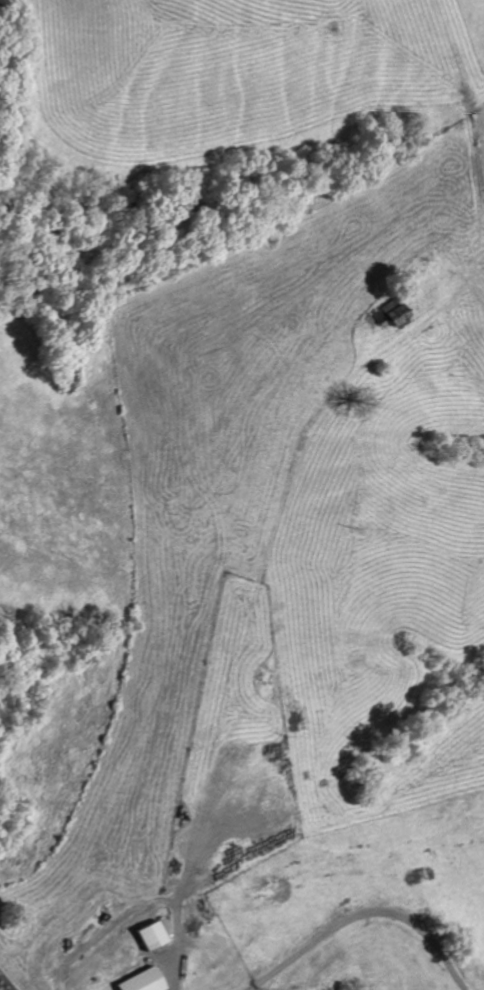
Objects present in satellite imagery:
building: (393, 315)
road: (364, 914)
building: (157, 936)
road: (145, 967)
building: (146, 982)
road: (252, 988)

